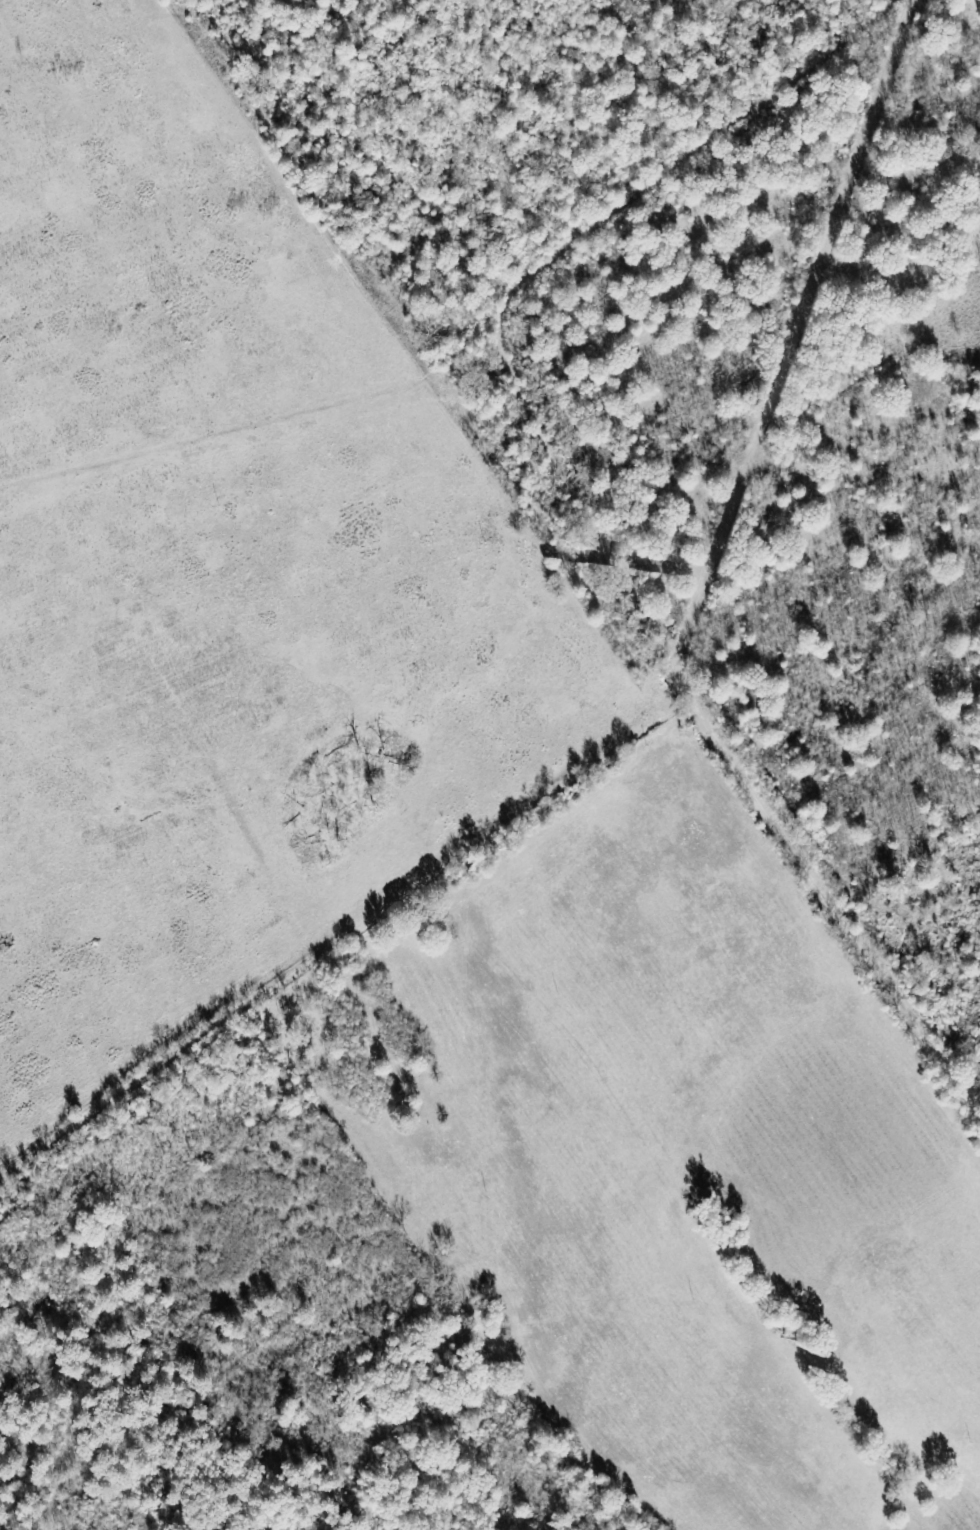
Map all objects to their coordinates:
road: (581, 536)

